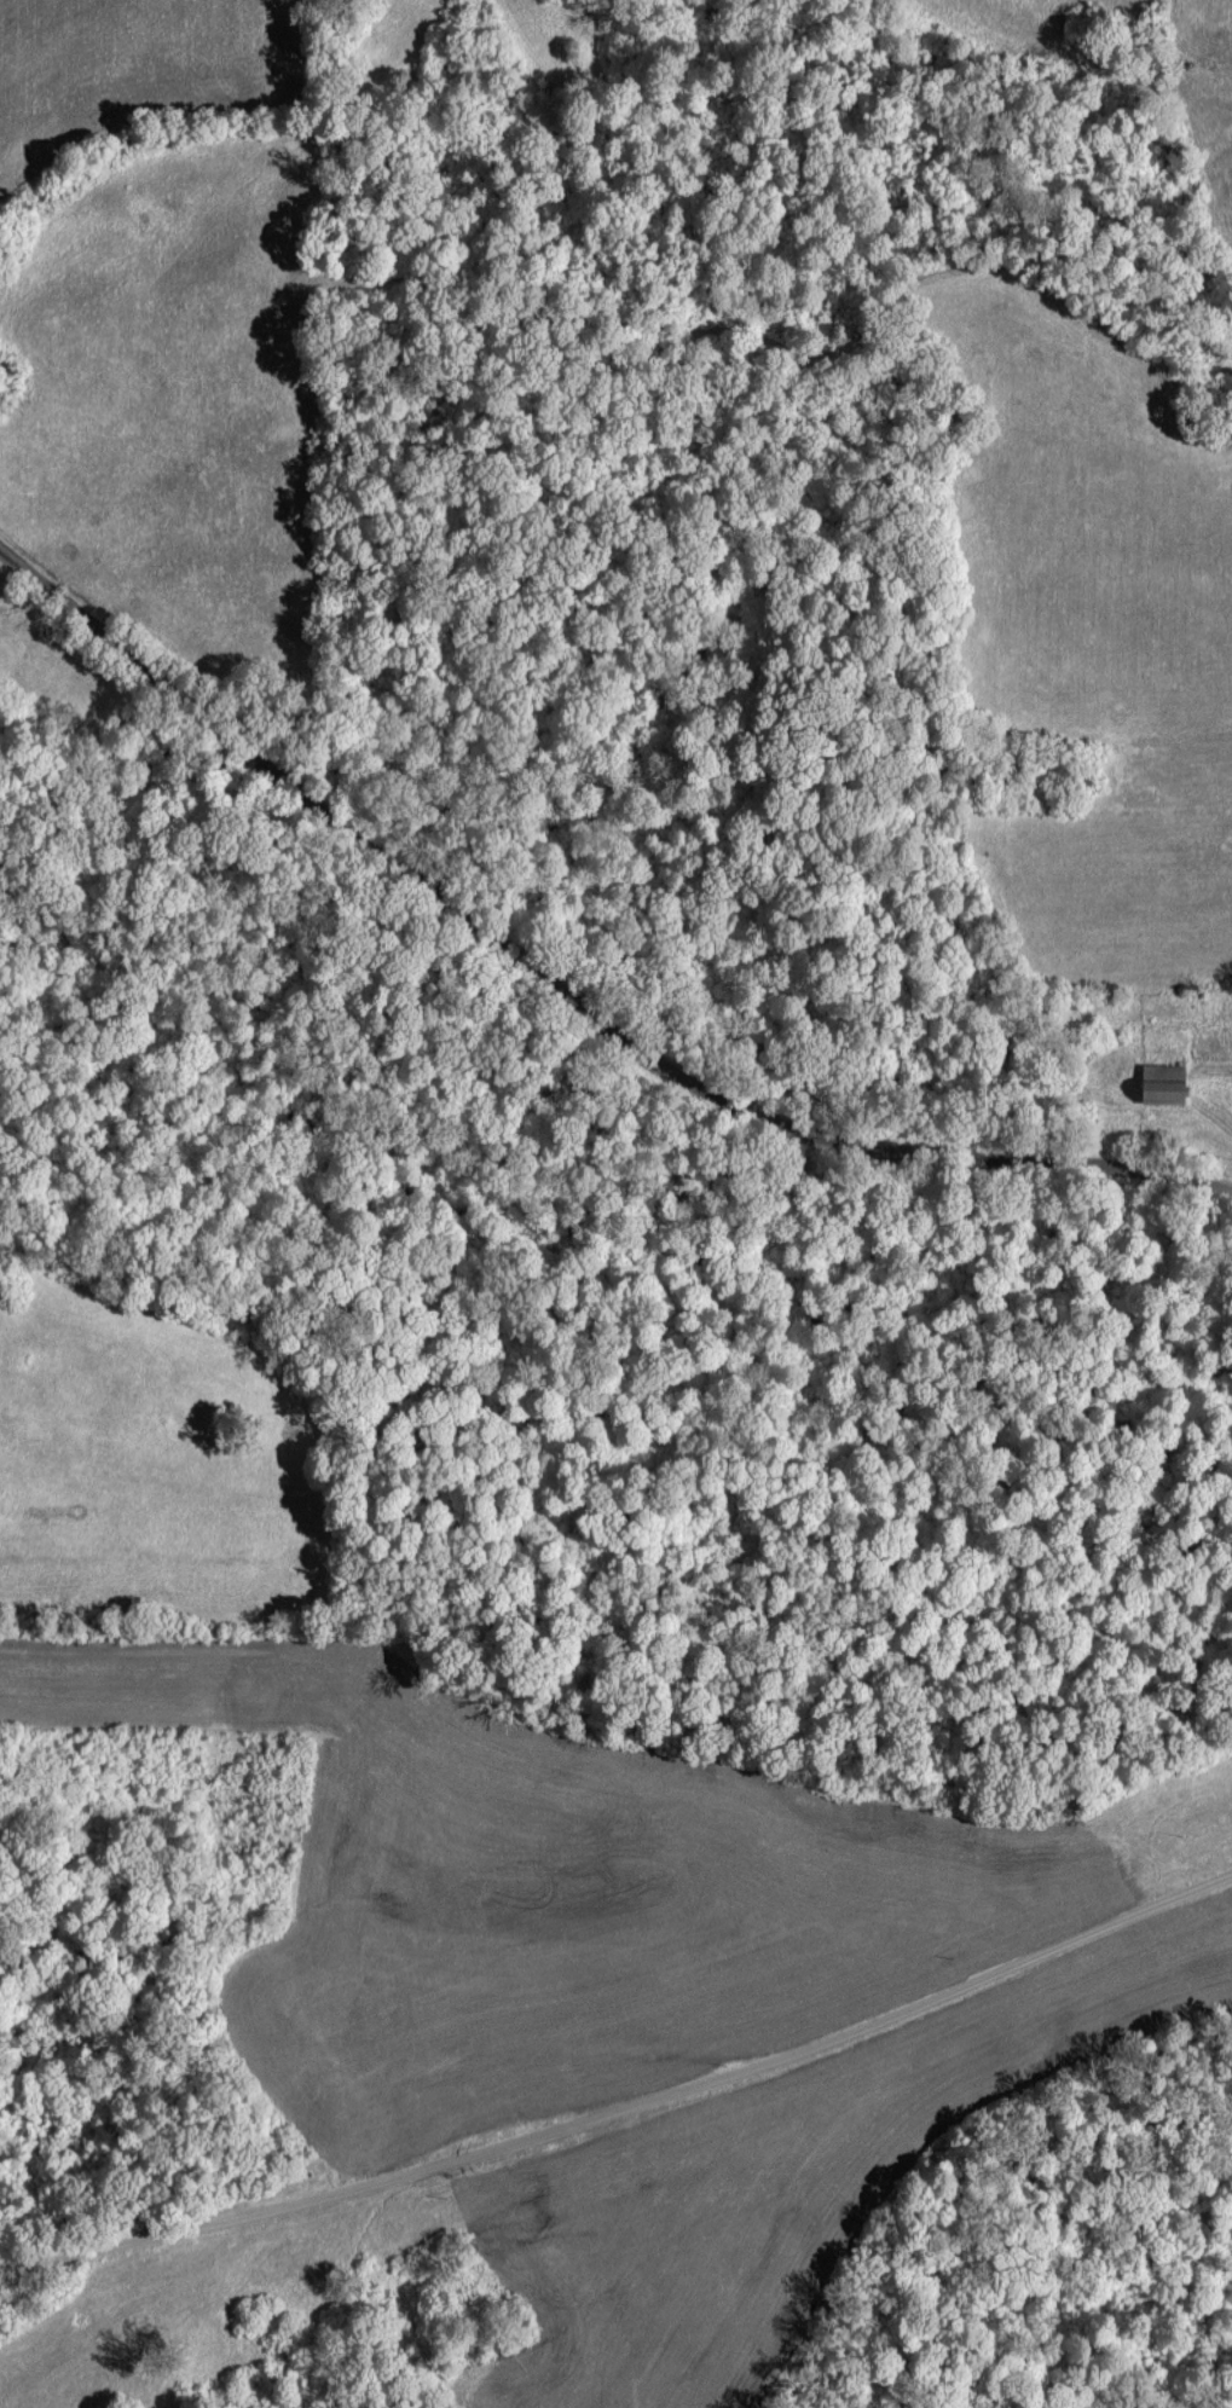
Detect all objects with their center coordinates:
road: (555, 1000)
building: (1164, 1083)

